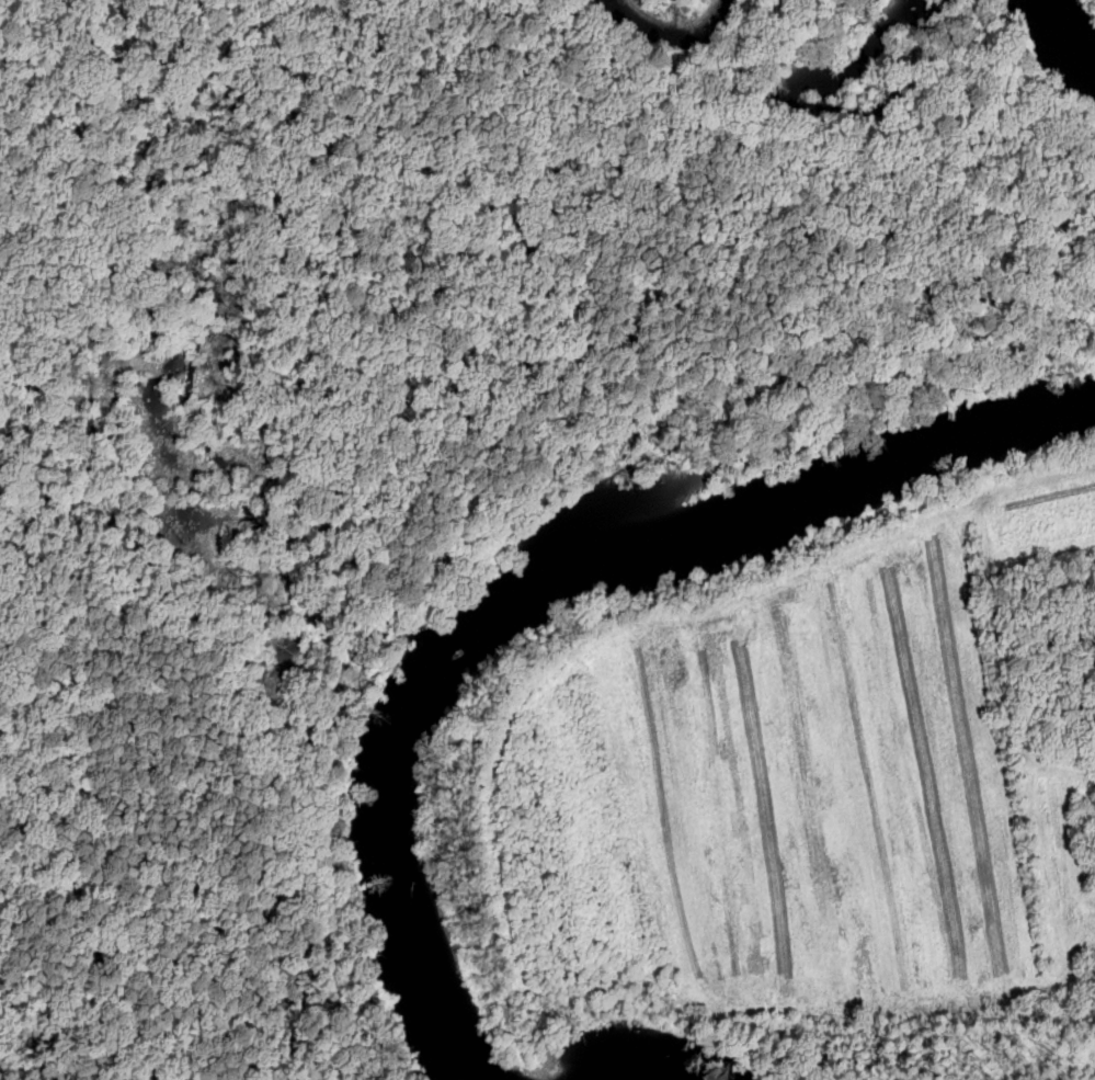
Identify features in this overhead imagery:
river: (1071, 33)
river: (557, 601)
river: (642, 1071)

